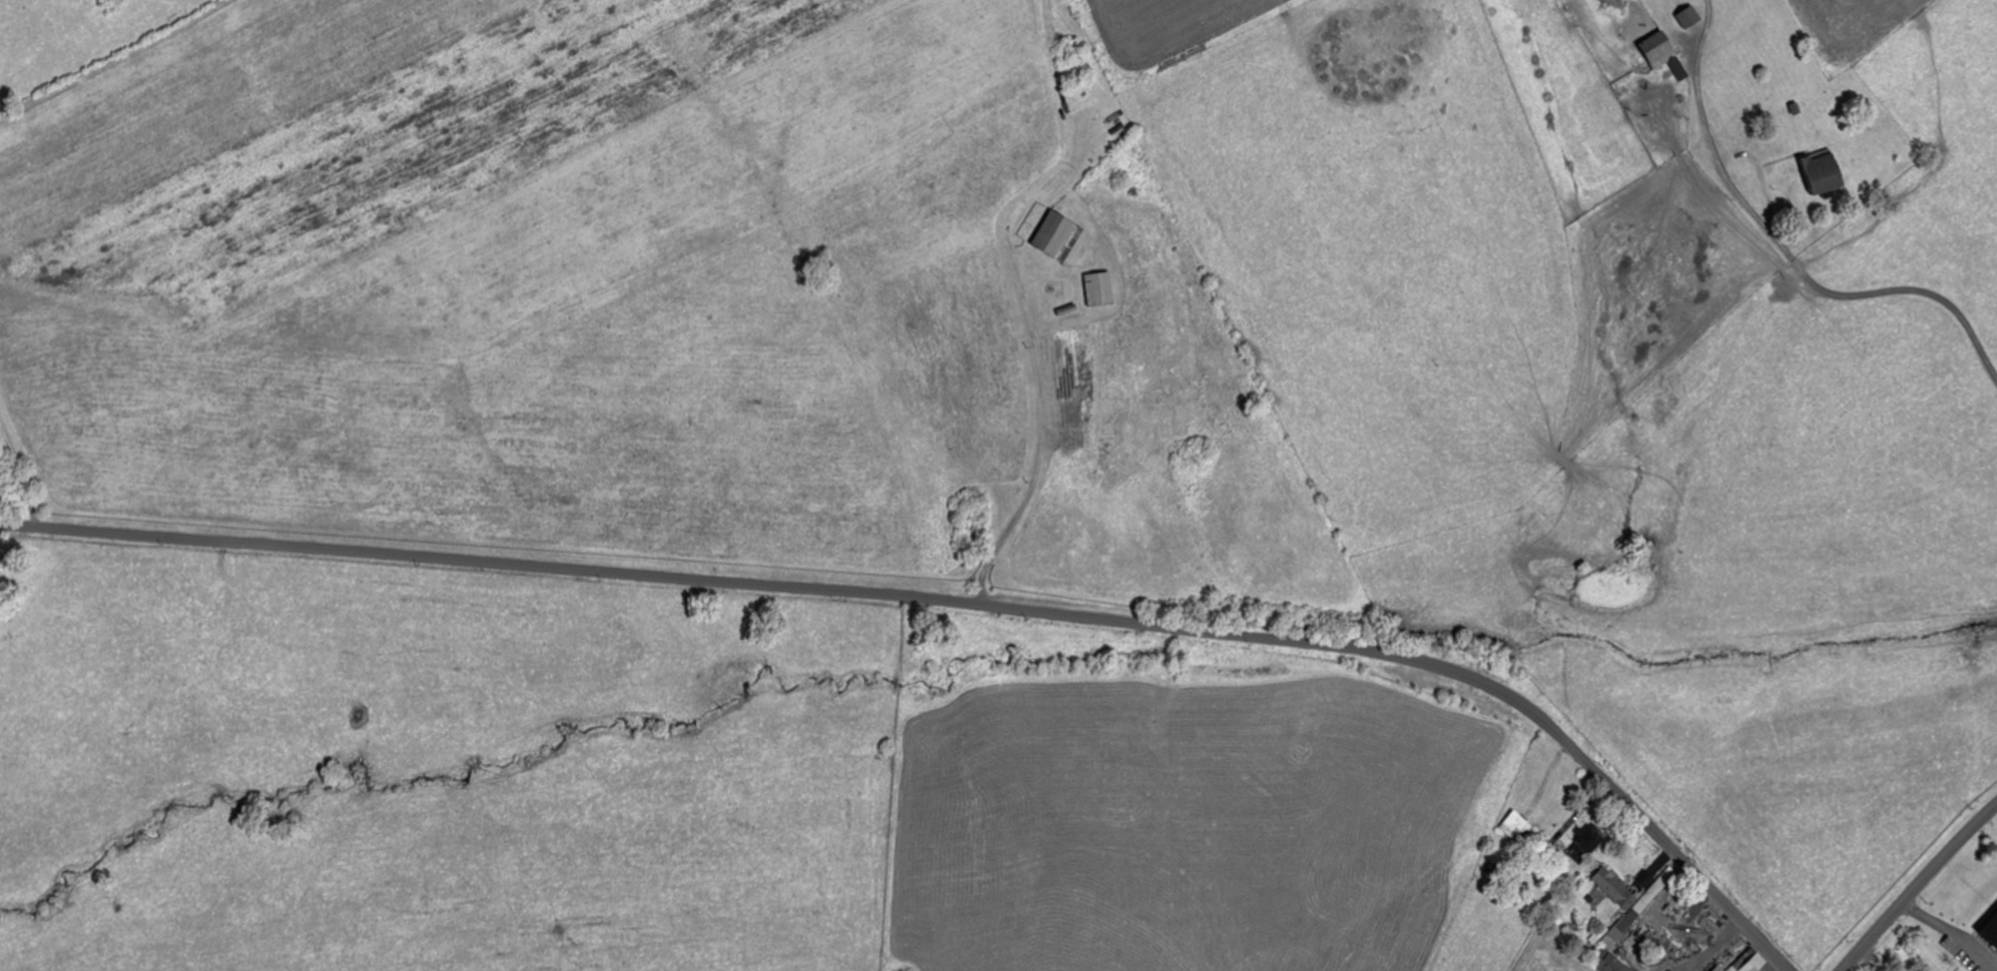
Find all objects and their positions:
building: (1663, 53)
building: (1822, 170)
building: (1058, 236)
building: (1100, 288)
road: (1876, 304)
road: (956, 601)
road: (1995, 622)
crop: (698, 778)
building: (1517, 826)
building: (1611, 885)
road: (1917, 887)
building: (1992, 929)
building: (1609, 962)
building: (1809, 962)
building: (1757, 964)
building: (1718, 968)

